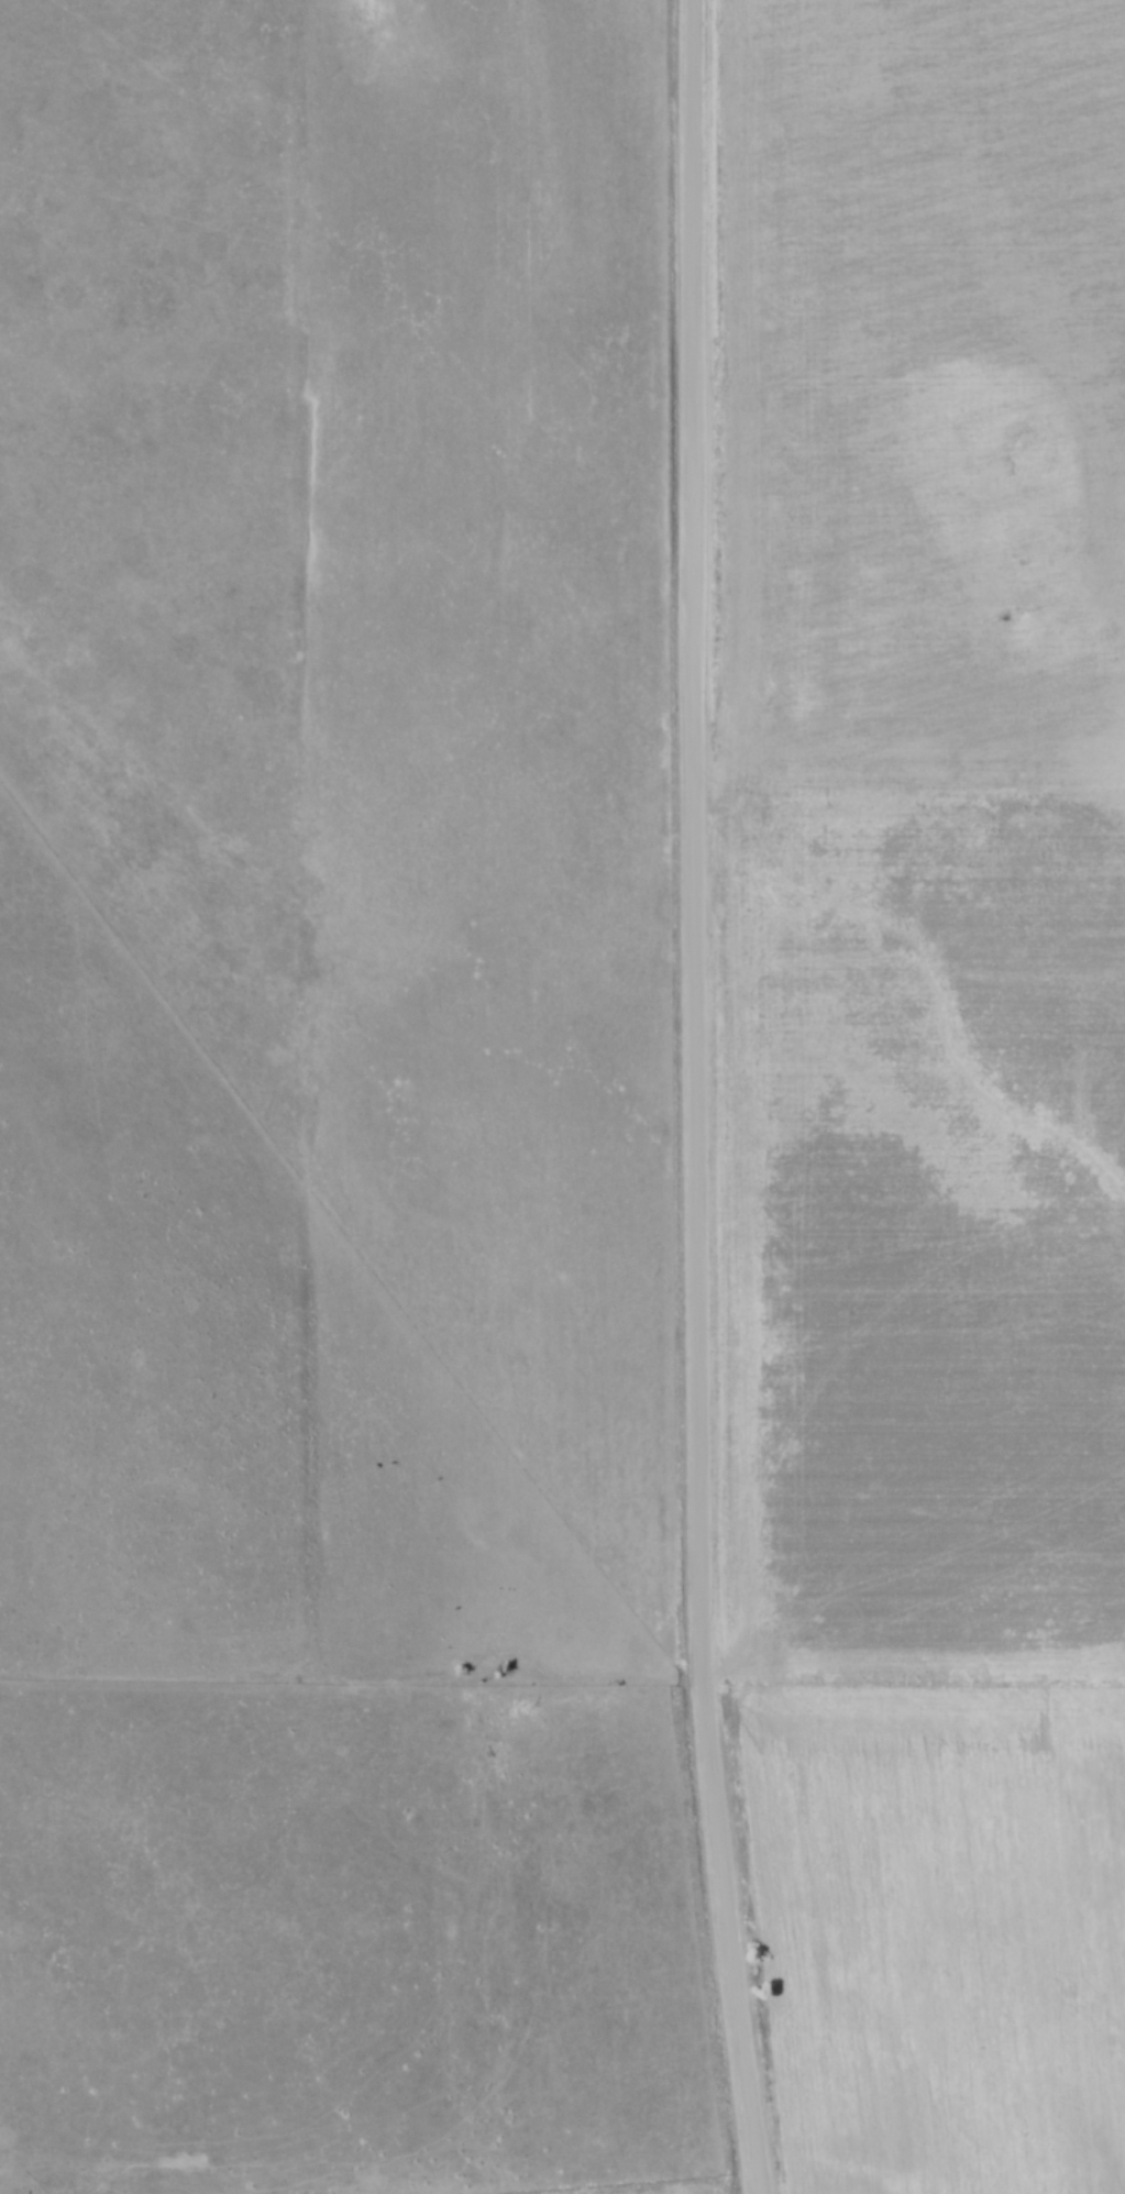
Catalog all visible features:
road: (697, 1098)

